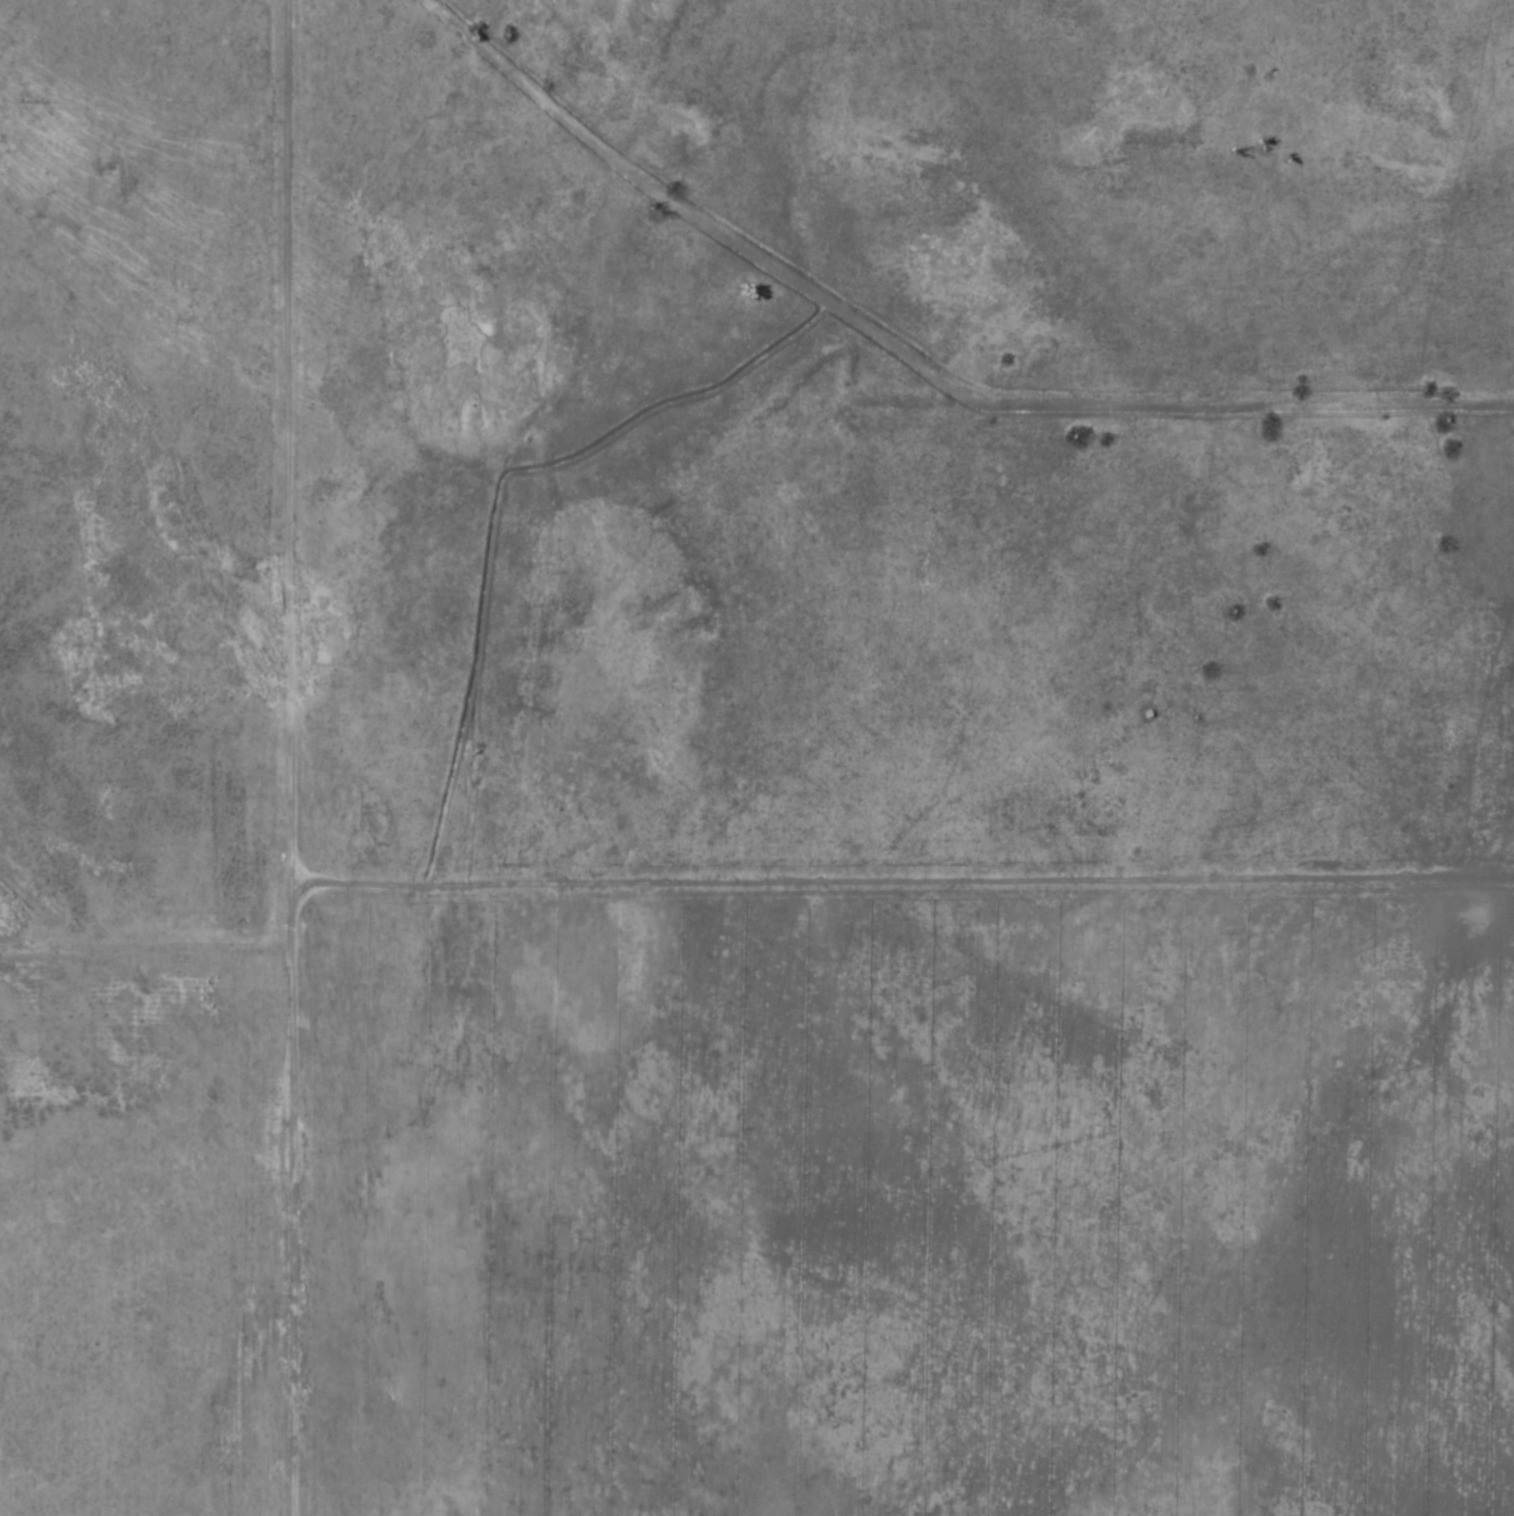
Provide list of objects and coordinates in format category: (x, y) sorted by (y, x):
crop: (905, 1200)

